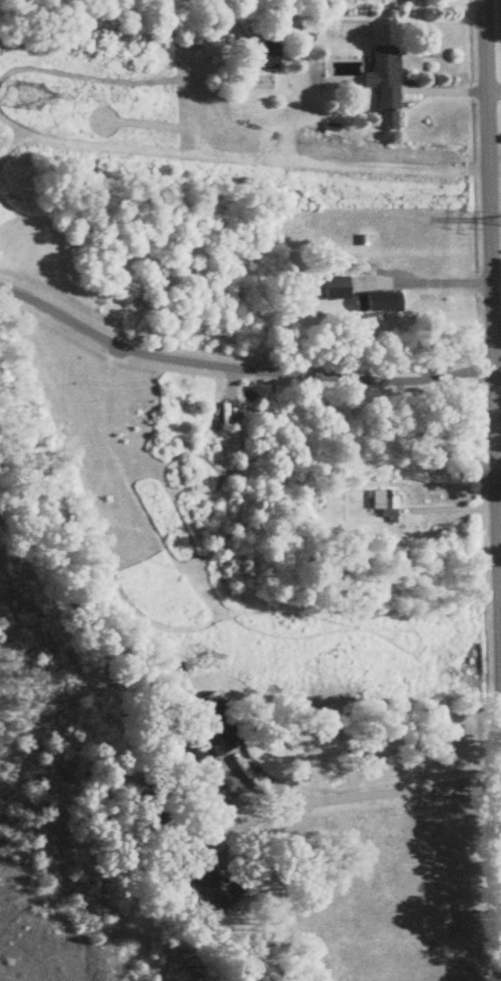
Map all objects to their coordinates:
building: (264, 55)
building: (387, 78)
road: (494, 87)
power tower: (30, 98)
road: (433, 285)
building: (339, 288)
building: (380, 305)
road: (493, 312)
road: (239, 367)
building: (387, 504)
road: (500, 533)
power tower: (206, 660)
building: (213, 733)
building: (152, 794)
road: (376, 794)
building: (211, 880)

